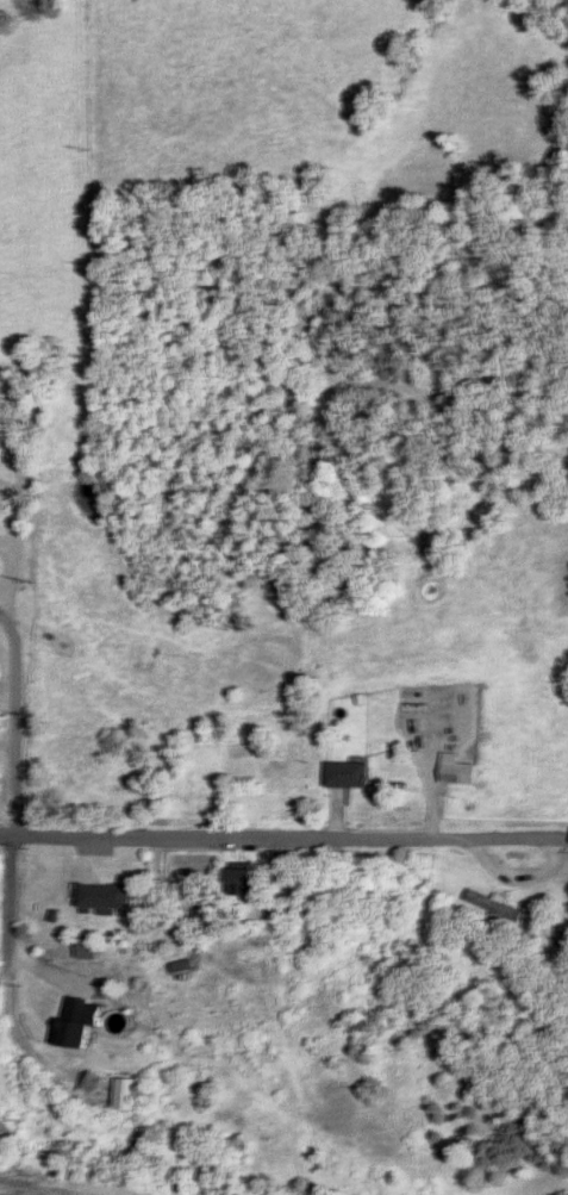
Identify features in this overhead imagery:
building: (416, 708)
road: (17, 721)
building: (457, 768)
building: (349, 773)
road: (283, 833)
building: (243, 880)
building: (104, 898)
building: (494, 904)
road: (24, 928)
building: (79, 1022)

